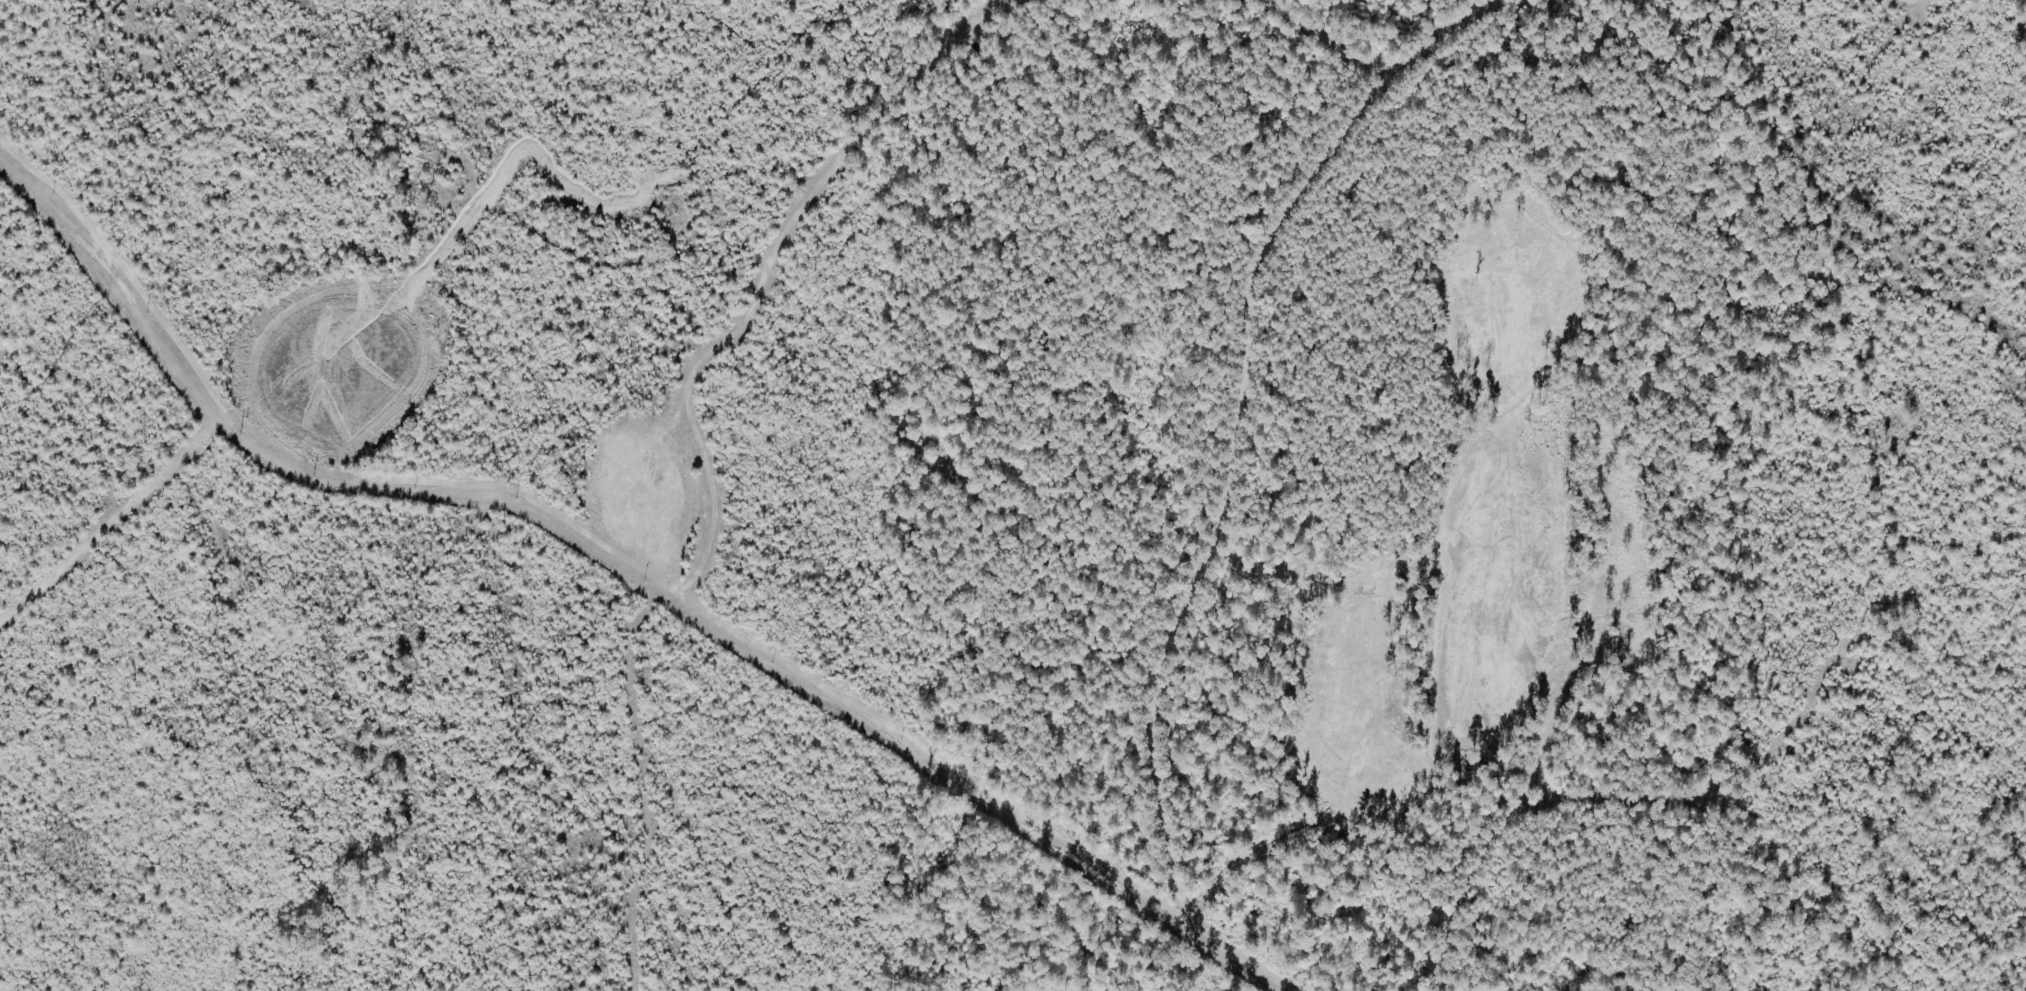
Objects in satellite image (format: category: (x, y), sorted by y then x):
road: (1144, 448)

